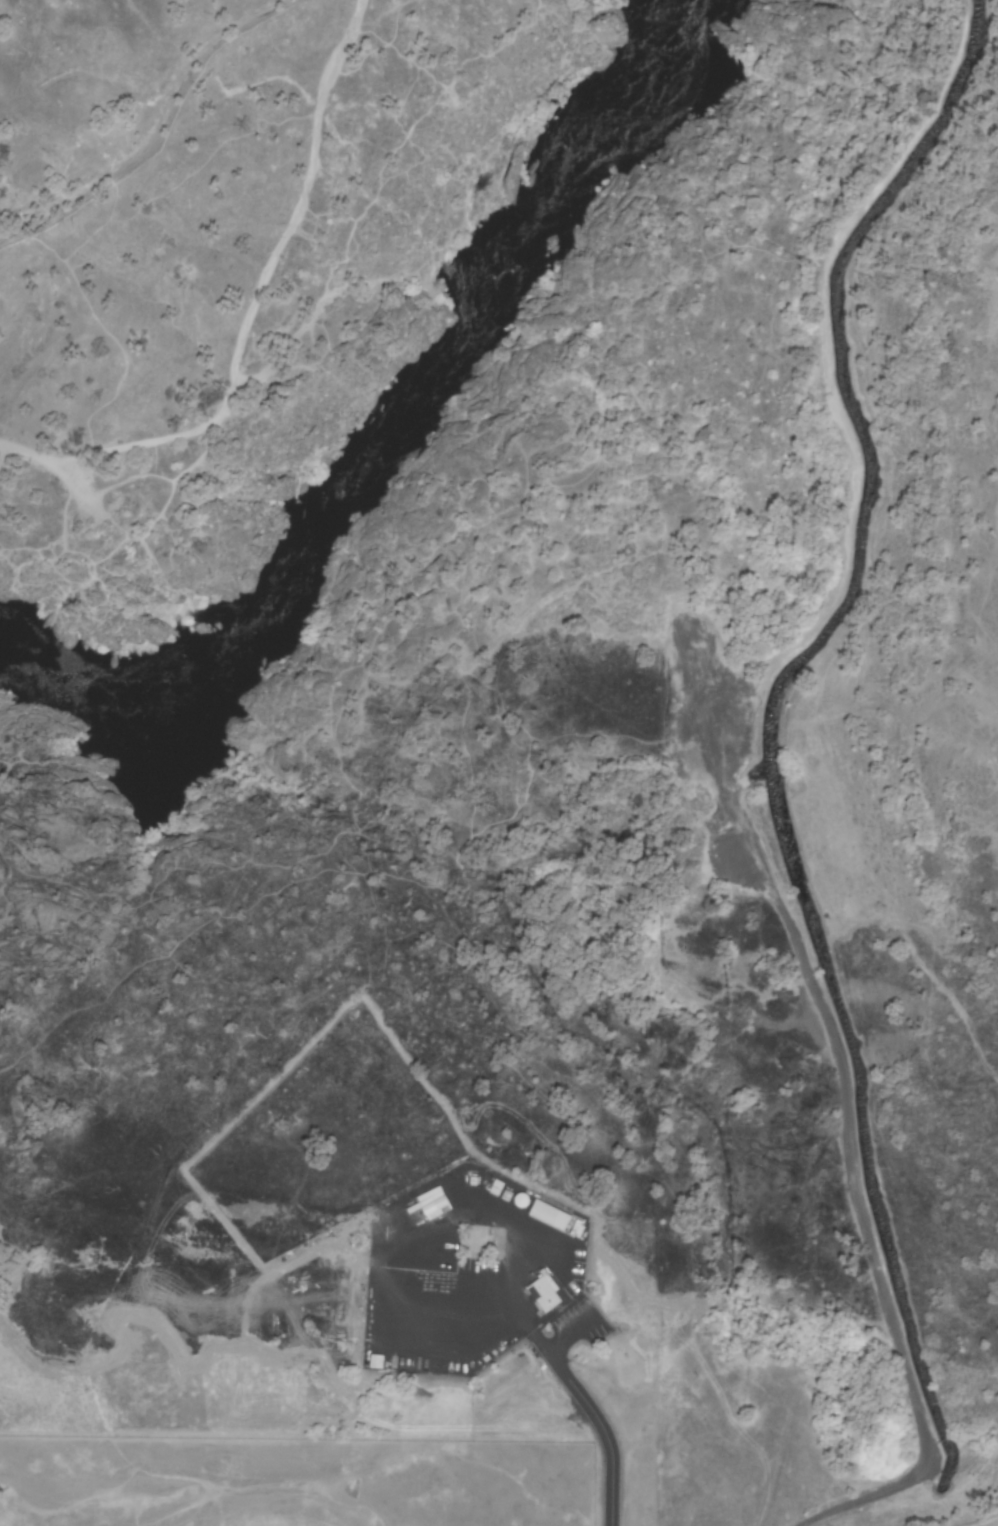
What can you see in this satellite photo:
river: (392, 459)
road: (734, 778)
building: (549, 1218)
building: (542, 1297)
road: (596, 1421)
road: (997, 1525)

